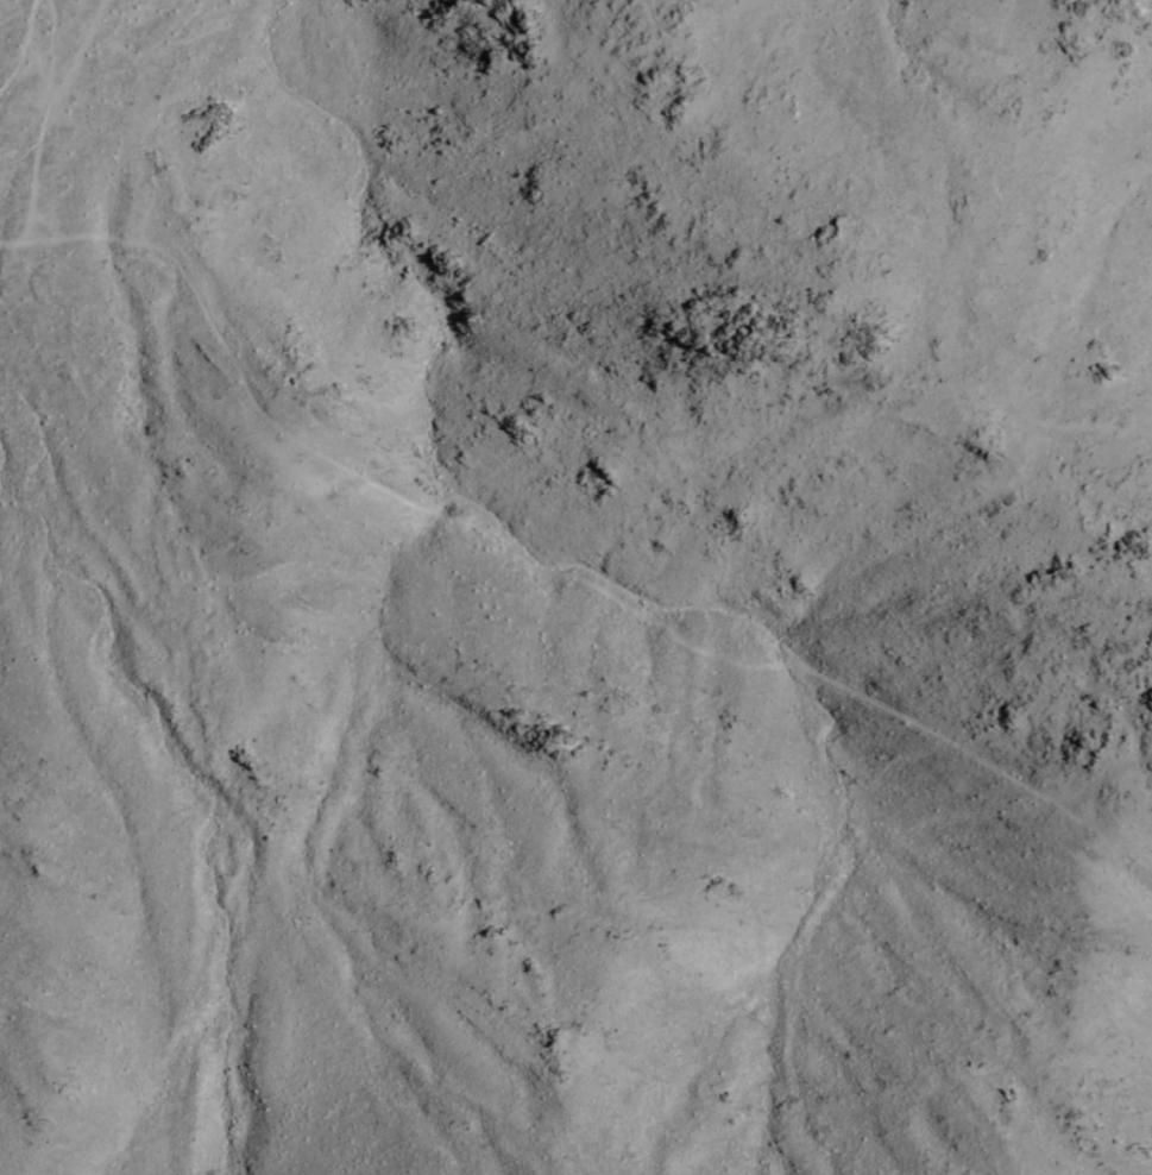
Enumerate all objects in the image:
road: (39, 143)

